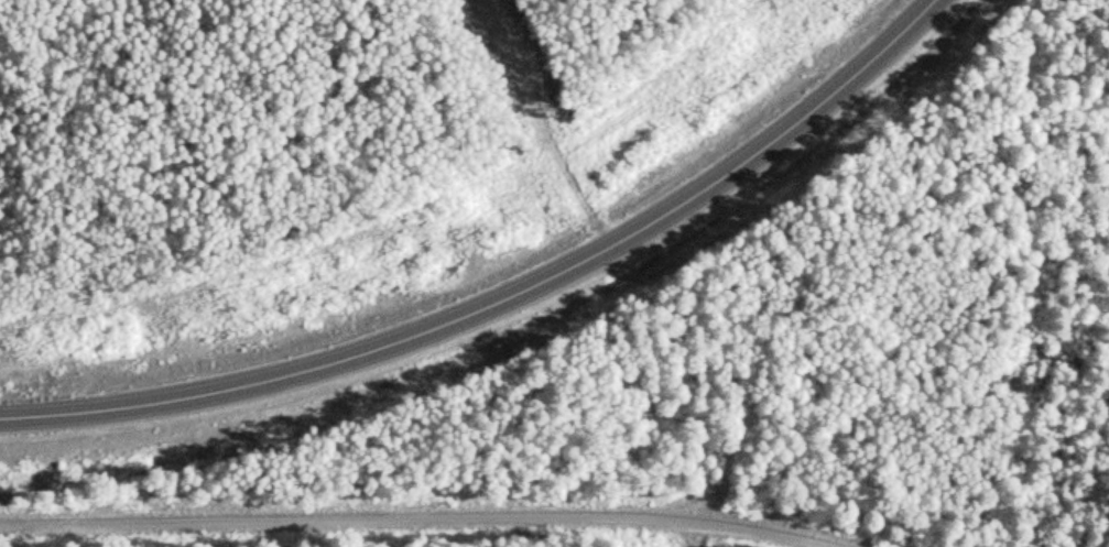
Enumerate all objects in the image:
road: (499, 288)
road: (428, 508)

